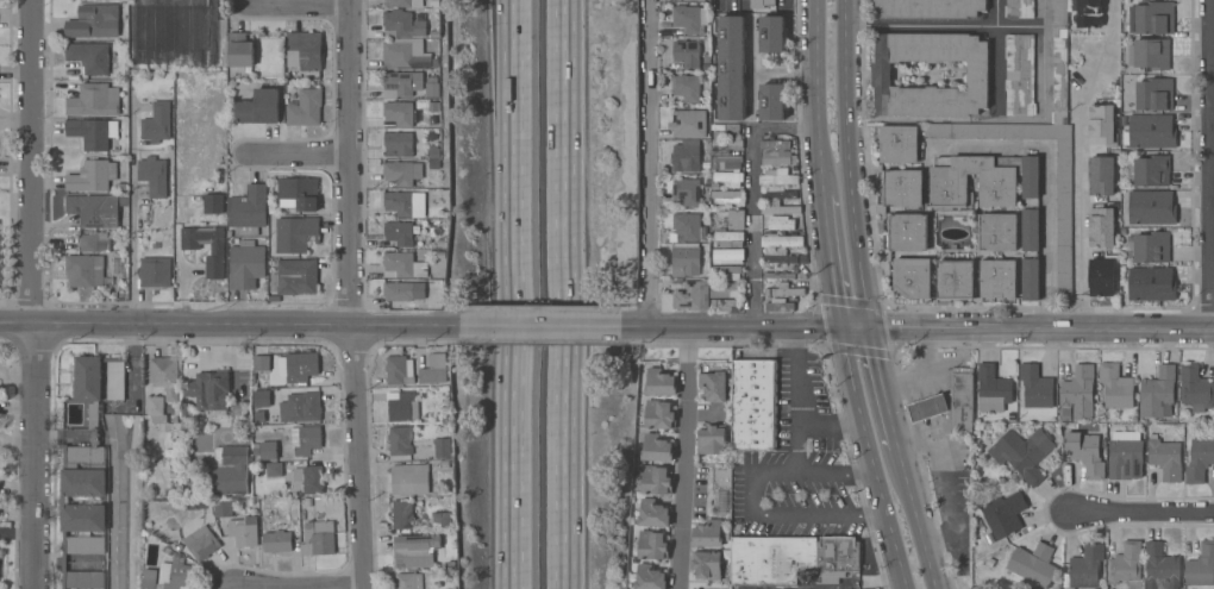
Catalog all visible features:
building: (697, 0)
building: (405, 2)
building: (763, 2)
road: (300, 5)
building: (927, 8)
building: (1018, 8)
building: (1089, 13)
building: (687, 18)
building: (1152, 19)
building: (94, 21)
building: (402, 25)
road: (920, 26)
building: (770, 37)
building: (303, 50)
building: (239, 52)
building: (401, 52)
building: (686, 54)
building: (1150, 54)
building: (90, 57)
road: (995, 57)
building: (419, 63)
building: (731, 67)
building: (977, 74)
building: (1019, 75)
building: (398, 84)
building: (687, 88)
building: (433, 89)
building: (1153, 94)
road: (818, 96)
building: (94, 100)
building: (771, 101)
building: (259, 107)
building: (432, 107)
building: (305, 108)
building: (400, 113)
building: (433, 120)
building: (157, 123)
building: (688, 124)
building: (1101, 127)
building: (724, 130)
building: (1151, 131)
building: (93, 132)
building: (398, 144)
building: (899, 144)
building: (774, 145)
building: (724, 146)
building: (434, 153)
road: (299, 156)
building: (686, 157)
building: (778, 158)
road: (1075, 159)
building: (725, 162)
road: (849, 163)
building: (434, 164)
road: (651, 164)
road: (1213, 165)
building: (1149, 170)
building: (399, 173)
road: (755, 173)
building: (92, 175)
building: (154, 176)
building: (1030, 176)
building: (1101, 176)
building: (778, 177)
building: (726, 180)
road: (1045, 182)
building: (774, 188)
building: (902, 188)
building: (949, 188)
building: (686, 192)
building: (298, 193)
building: (726, 196)
building: (780, 196)
building: (403, 202)
building: (213, 203)
building: (775, 203)
building: (789, 203)
building: (1151, 207)
building: (94, 209)
building: (781, 209)
building: (248, 211)
road: (131, 213)
building: (734, 219)
building: (1064, 219)
building: (781, 223)
building: (687, 227)
building: (1101, 227)
building: (1030, 228)
building: (908, 232)
building: (997, 232)
building: (295, 233)
building: (399, 233)
building: (728, 238)
building: (781, 240)
building: (88, 243)
building: (206, 246)
building: (1149, 247)
building: (727, 256)
building: (778, 256)
building: (684, 259)
road: (833, 259)
building: (245, 265)
building: (402, 265)
building: (85, 270)
building: (705, 271)
building: (155, 272)
building: (725, 272)
building: (778, 276)
building: (1102, 276)
building: (294, 277)
building: (912, 277)
building: (997, 278)
building: (1031, 278)
building: (955, 280)
building: (1151, 284)
building: (725, 290)
building: (783, 290)
building: (398, 292)
road: (351, 294)
road: (511, 294)
road: (562, 294)
building: (690, 294)
road: (32, 295)
building: (725, 305)
building: (780, 305)
traffic signals: (843, 326)
traffic signals: (870, 326)
road: (236, 327)
road: (547, 327)
road: (745, 327)
road: (1041, 328)
road: (229, 356)
building: (437, 361)
building: (262, 364)
building: (301, 366)
road: (916, 368)
building: (398, 369)
building: (164, 376)
building: (657, 382)
building: (98, 383)
building: (713, 386)
road: (883, 387)
building: (1035, 387)
building: (1115, 387)
building: (208, 389)
building: (993, 389)
building: (1195, 389)
building: (1157, 393)
building: (1077, 394)
building: (259, 396)
road: (794, 400)
building: (962, 400)
building: (753, 405)
building: (402, 406)
building: (300, 407)
building: (927, 407)
building: (156, 409)
building: (659, 415)
building: (259, 416)
road: (828, 425)
building: (305, 439)
building: (712, 439)
building: (400, 440)
building: (171, 444)
building: (440, 447)
building: (657, 449)
building: (268, 450)
building: (1022, 453)
building: (1085, 453)
building: (1125, 456)
road: (686, 458)
road: (870, 458)
building: (1165, 458)
building: (232, 459)
building: (1199, 460)
building: (274, 469)
road: (752, 472)
road: (836, 474)
building: (309, 478)
building: (409, 478)
building: (656, 480)
building: (219, 481)
building: (223, 508)
building: (82, 510)
road: (1143, 512)
building: (401, 513)
building: (653, 513)
building: (293, 514)
building: (1003, 514)
road: (819, 515)
road: (918, 519)
building: (440, 520)
building: (243, 531)
building: (707, 534)
building: (318, 539)
building: (277, 541)
building: (201, 543)
building: (652, 545)
building: (415, 550)
building: (791, 558)
building: (1125, 563)
building: (706, 564)
building: (1031, 566)
building: (1085, 566)
building: (1201, 566)
building: (1160, 568)
building: (175, 574)
building: (650, 577)
building: (149, 578)
building: (408, 581)
road: (330, 587)

